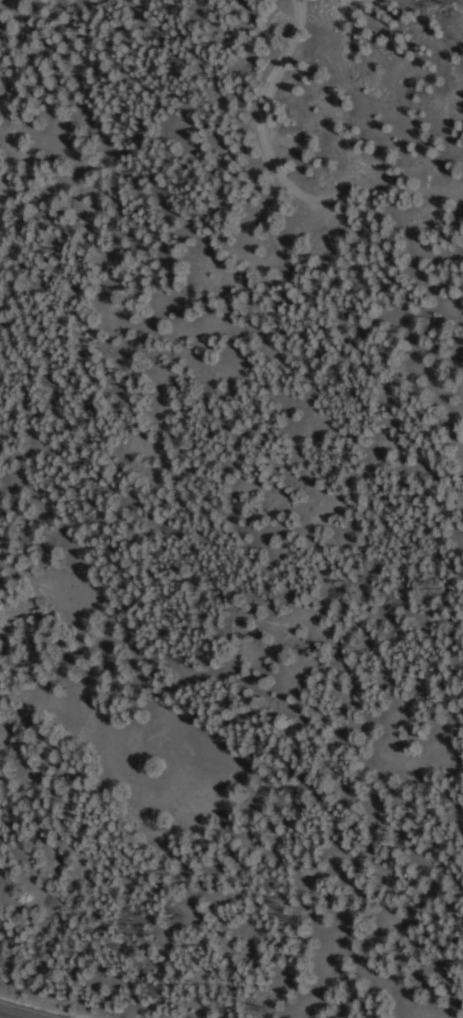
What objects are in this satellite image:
road: (307, 151)
road: (15, 1013)

